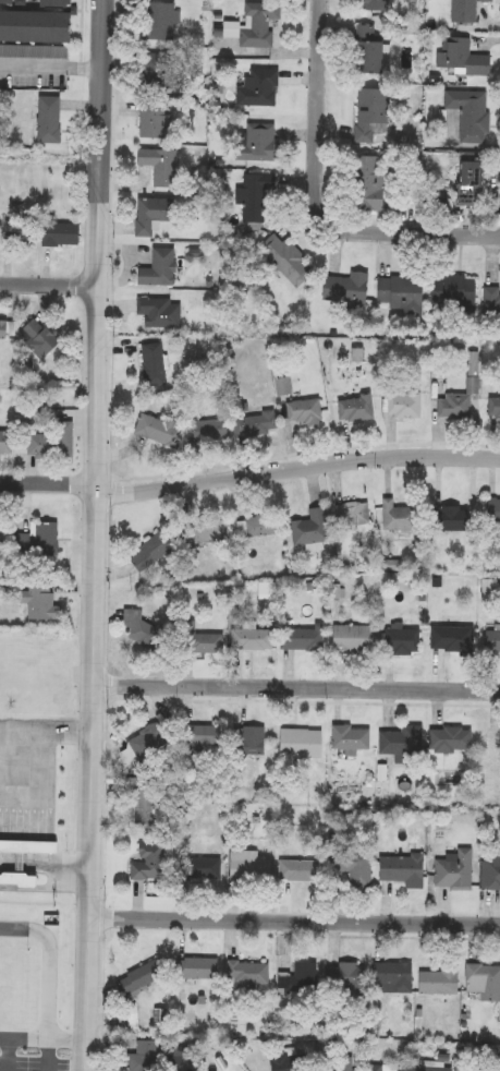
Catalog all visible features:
building: (10, 2)
building: (64, 3)
building: (378, 5)
building: (468, 11)
building: (162, 22)
building: (263, 24)
building: (39, 27)
road: (84, 27)
building: (375, 51)
building: (464, 58)
road: (51, 67)
building: (160, 71)
building: (261, 88)
building: (376, 113)
building: (474, 113)
building: (159, 119)
building: (52, 121)
building: (265, 142)
building: (162, 165)
building: (475, 184)
building: (374, 185)
building: (259, 196)
road: (315, 201)
building: (157, 215)
building: (20, 228)
building: (68, 236)
building: (290, 261)
building: (164, 268)
road: (49, 280)
building: (351, 289)
building: (403, 293)
building: (455, 296)
building: (491, 305)
building: (164, 313)
building: (7, 332)
building: (42, 339)
building: (157, 364)
building: (285, 385)
building: (403, 406)
building: (453, 407)
building: (495, 407)
building: (355, 408)
building: (303, 412)
building: (256, 423)
building: (163, 431)
road: (109, 432)
building: (211, 432)
building: (8, 444)
building: (53, 445)
road: (249, 471)
road: (110, 490)
building: (492, 510)
building: (353, 514)
building: (398, 517)
building: (447, 519)
building: (260, 527)
building: (310, 528)
building: (210, 531)
road: (101, 535)
building: (45, 541)
building: (150, 552)
road: (107, 585)
building: (47, 606)
building: (139, 629)
building: (251, 638)
building: (350, 638)
building: (450, 638)
building: (199, 639)
building: (302, 639)
building: (402, 641)
building: (491, 643)
road: (106, 682)
road: (298, 684)
road: (202, 696)
road: (48, 730)
building: (200, 735)
building: (350, 737)
building: (449, 738)
building: (493, 739)
building: (145, 741)
building: (248, 741)
building: (401, 741)
building: (300, 743)
building: (145, 806)
road: (13, 831)
building: (28, 851)
building: (147, 863)
building: (247, 866)
building: (199, 869)
building: (401, 869)
building: (350, 870)
building: (453, 870)
building: (298, 871)
building: (490, 871)
building: (17, 882)
road: (46, 889)
road: (103, 914)
road: (294, 916)
road: (16, 930)
road: (419, 936)
building: (198, 968)
building: (246, 975)
building: (344, 976)
building: (390, 977)
building: (300, 979)
road: (53, 982)
building: (483, 982)
building: (436, 983)
building: (135, 992)
road: (102, 999)
road: (42, 1039)
road: (8, 1055)
road: (51, 1056)
building: (156, 1057)
building: (279, 1062)
parking lot: (35, 1064)
building: (346, 1064)
building: (430, 1067)
building: (373, 1068)

